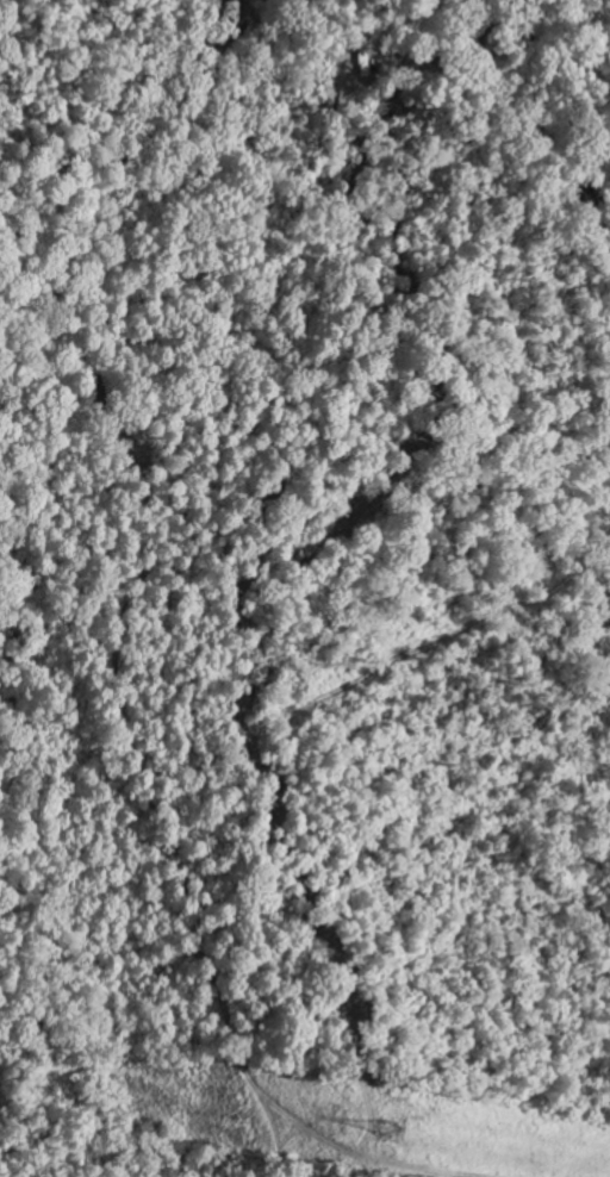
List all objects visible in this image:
power tower: (368, 1138)

